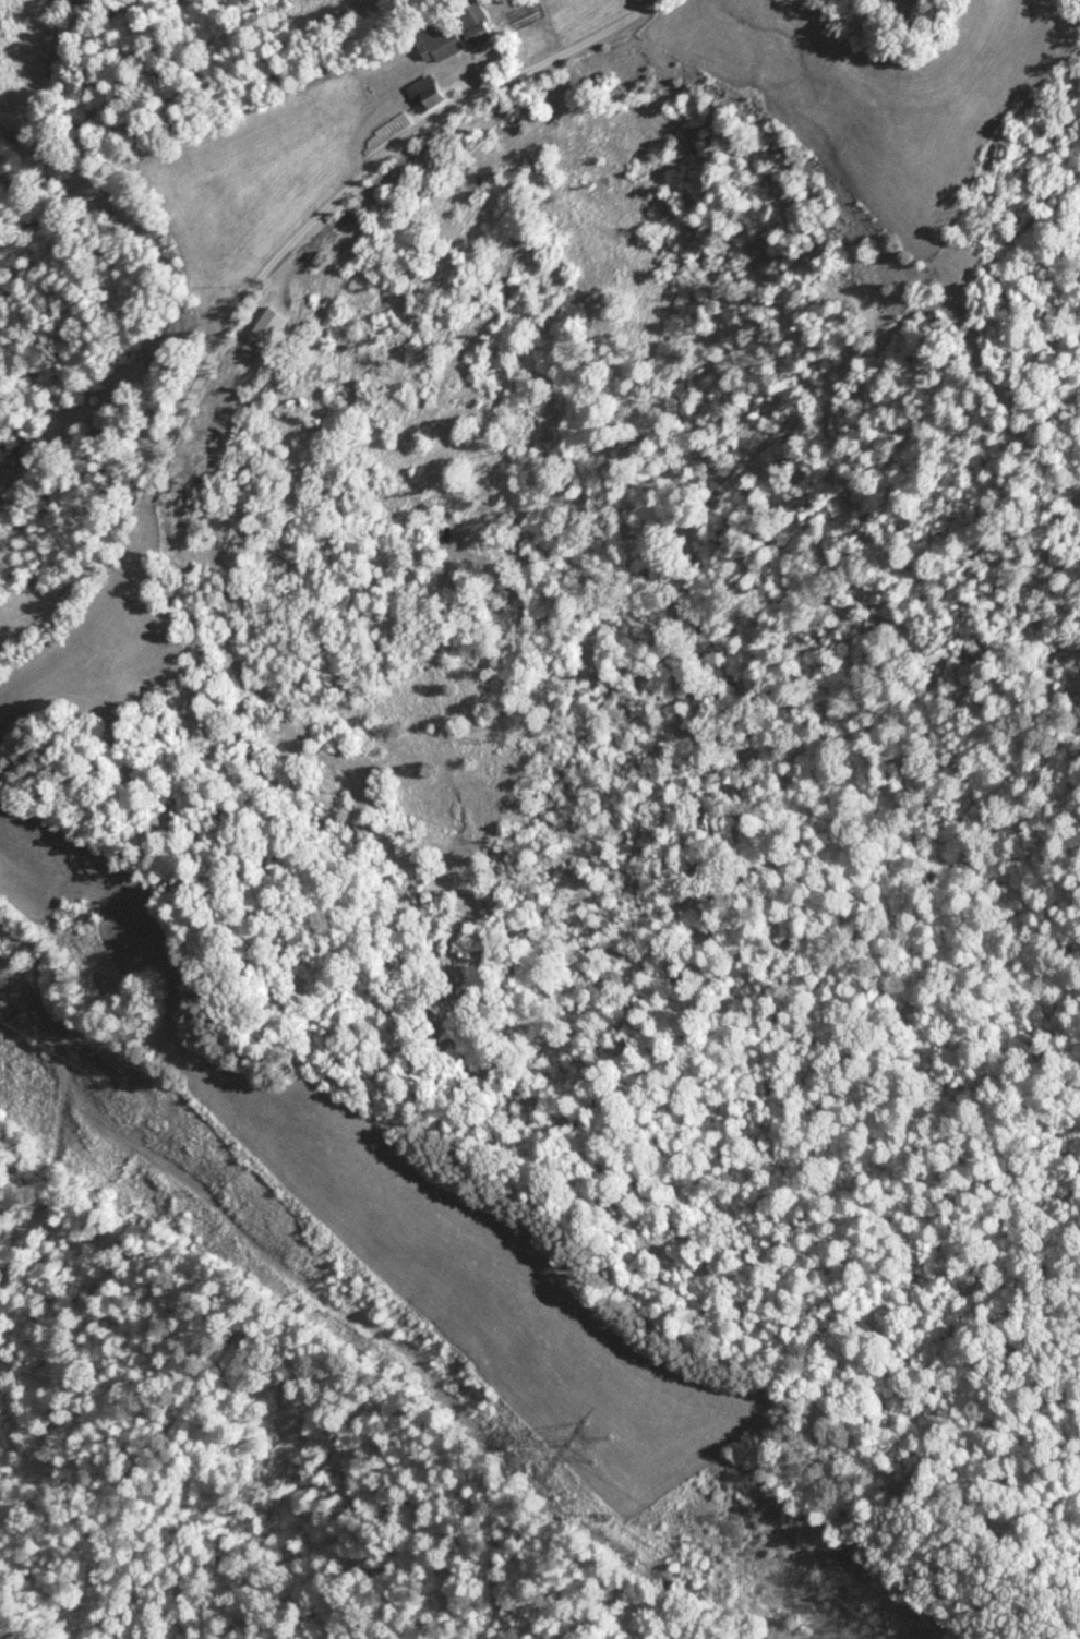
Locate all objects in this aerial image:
building: (473, 23)
building: (436, 44)
building: (423, 95)
road: (386, 189)
road: (103, 297)
building: (266, 328)
road: (105, 546)
power tower: (597, 1441)

